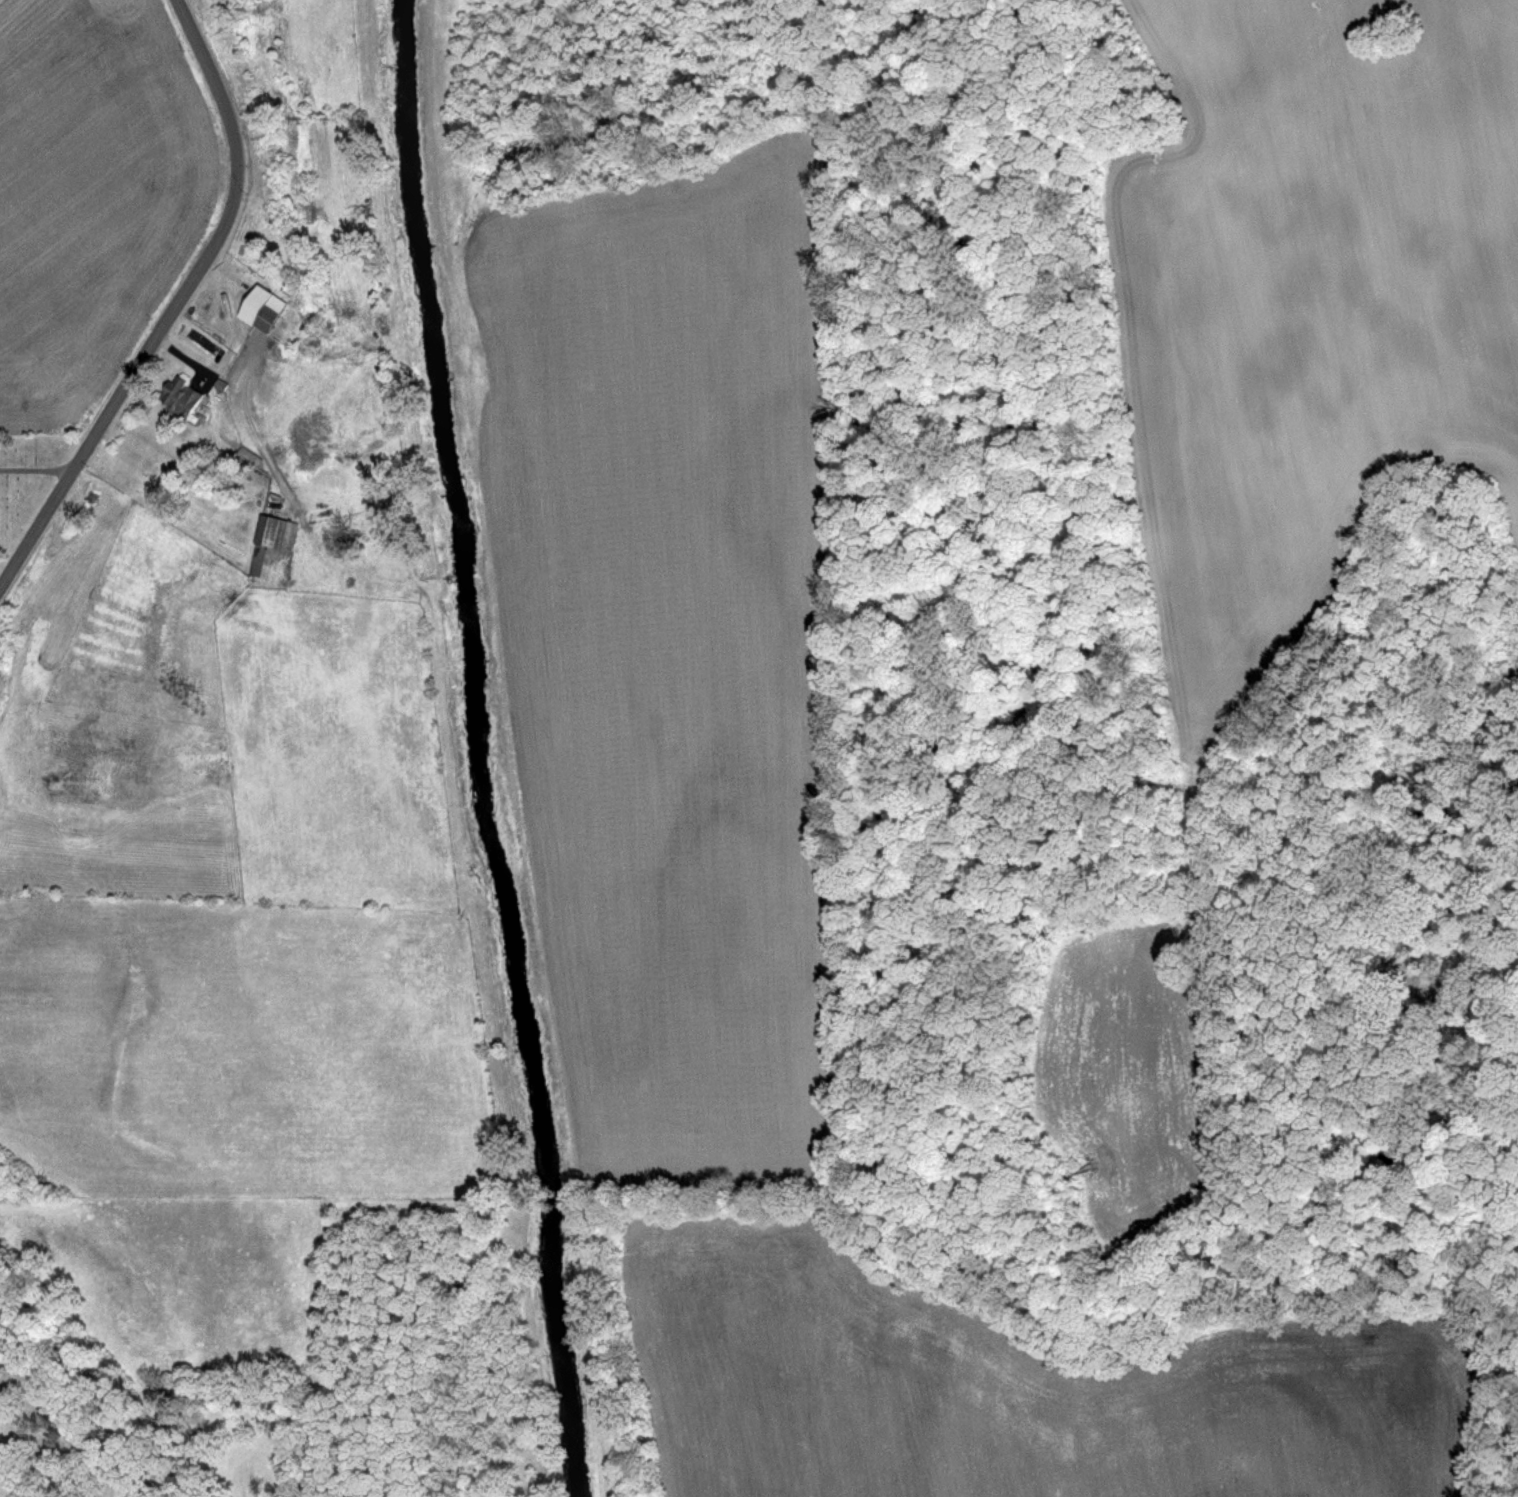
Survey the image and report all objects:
road: (171, 300)
crop: (1305, 308)
building: (265, 309)
building: (184, 398)
building: (246, 457)
road: (35, 466)
park: (23, 473)
building: (277, 533)
crop: (660, 636)
river: (476, 750)

